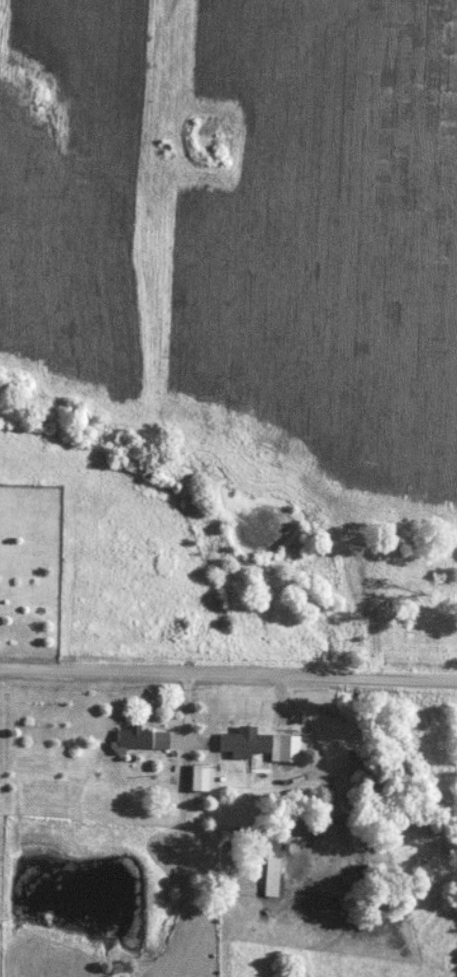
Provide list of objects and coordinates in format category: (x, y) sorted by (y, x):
road: (228, 681)
building: (142, 739)
building: (262, 744)
building: (202, 777)
road: (318, 791)
building: (274, 876)

